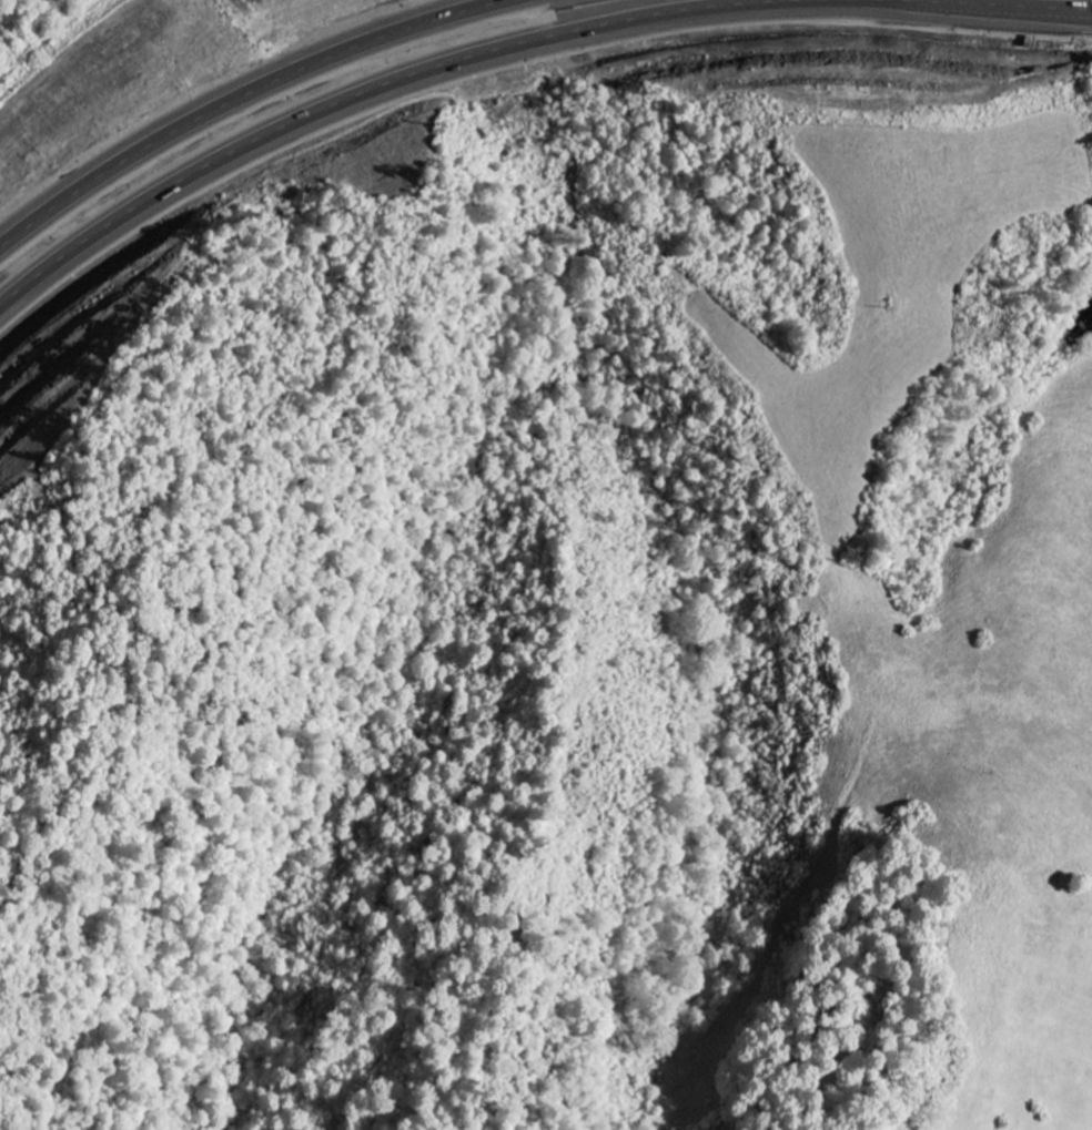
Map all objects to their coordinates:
road: (1091, 16)
road: (510, 43)
road: (239, 94)

